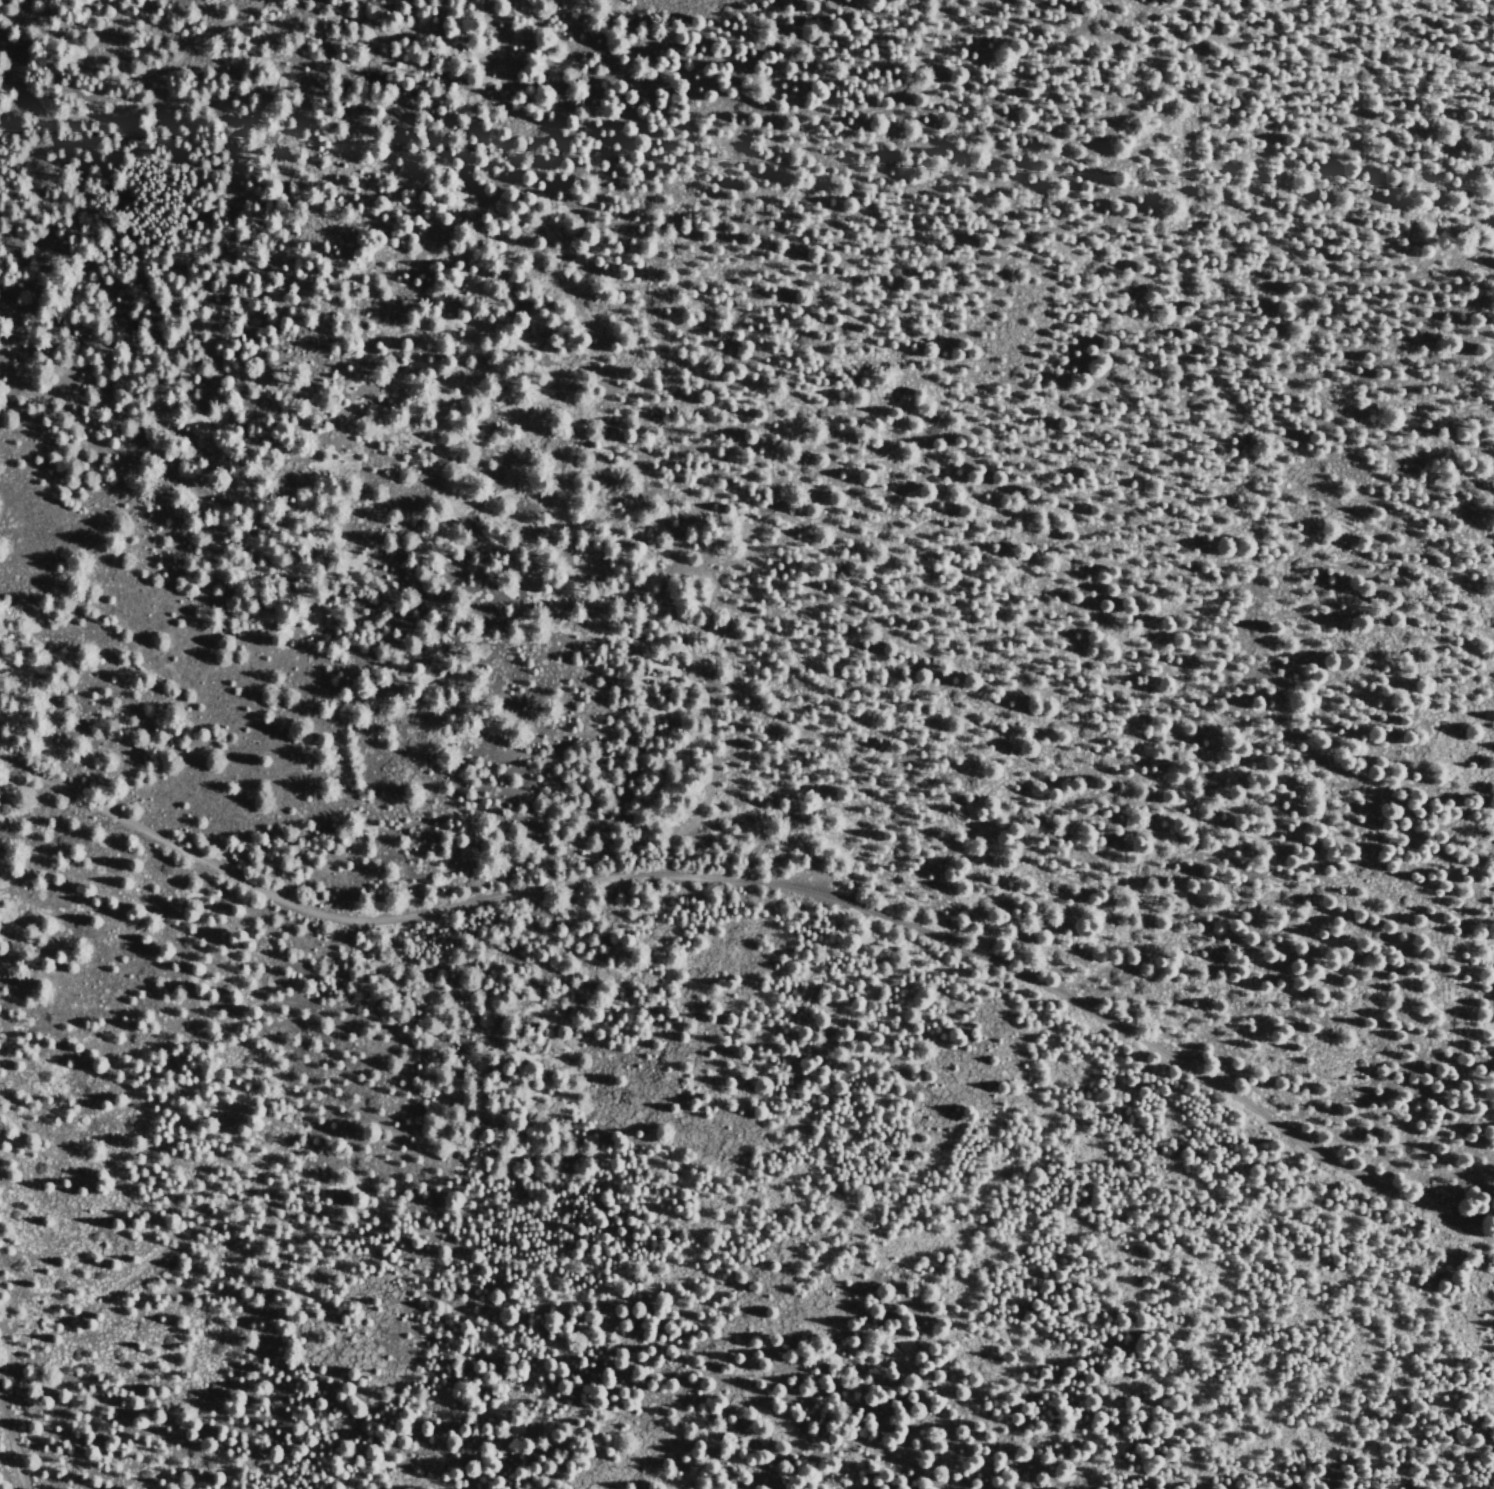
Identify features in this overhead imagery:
road: (151, 101)
road: (770, 883)
road: (10, 1447)

